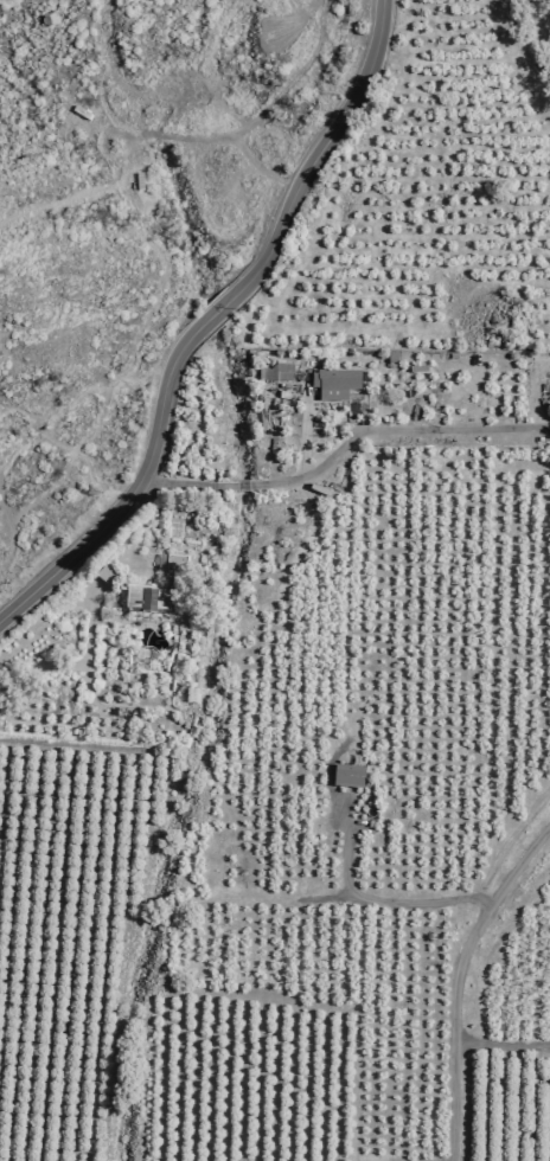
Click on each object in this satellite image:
road: (325, 152)
road: (217, 312)
building: (389, 358)
building: (415, 367)
building: (274, 371)
building: (333, 381)
road: (398, 432)
road: (301, 434)
road: (188, 485)
road: (250, 487)
road: (130, 498)
building: (103, 572)
building: (151, 588)
road: (77, 666)
building: (348, 776)
road: (375, 898)
road: (458, 981)

